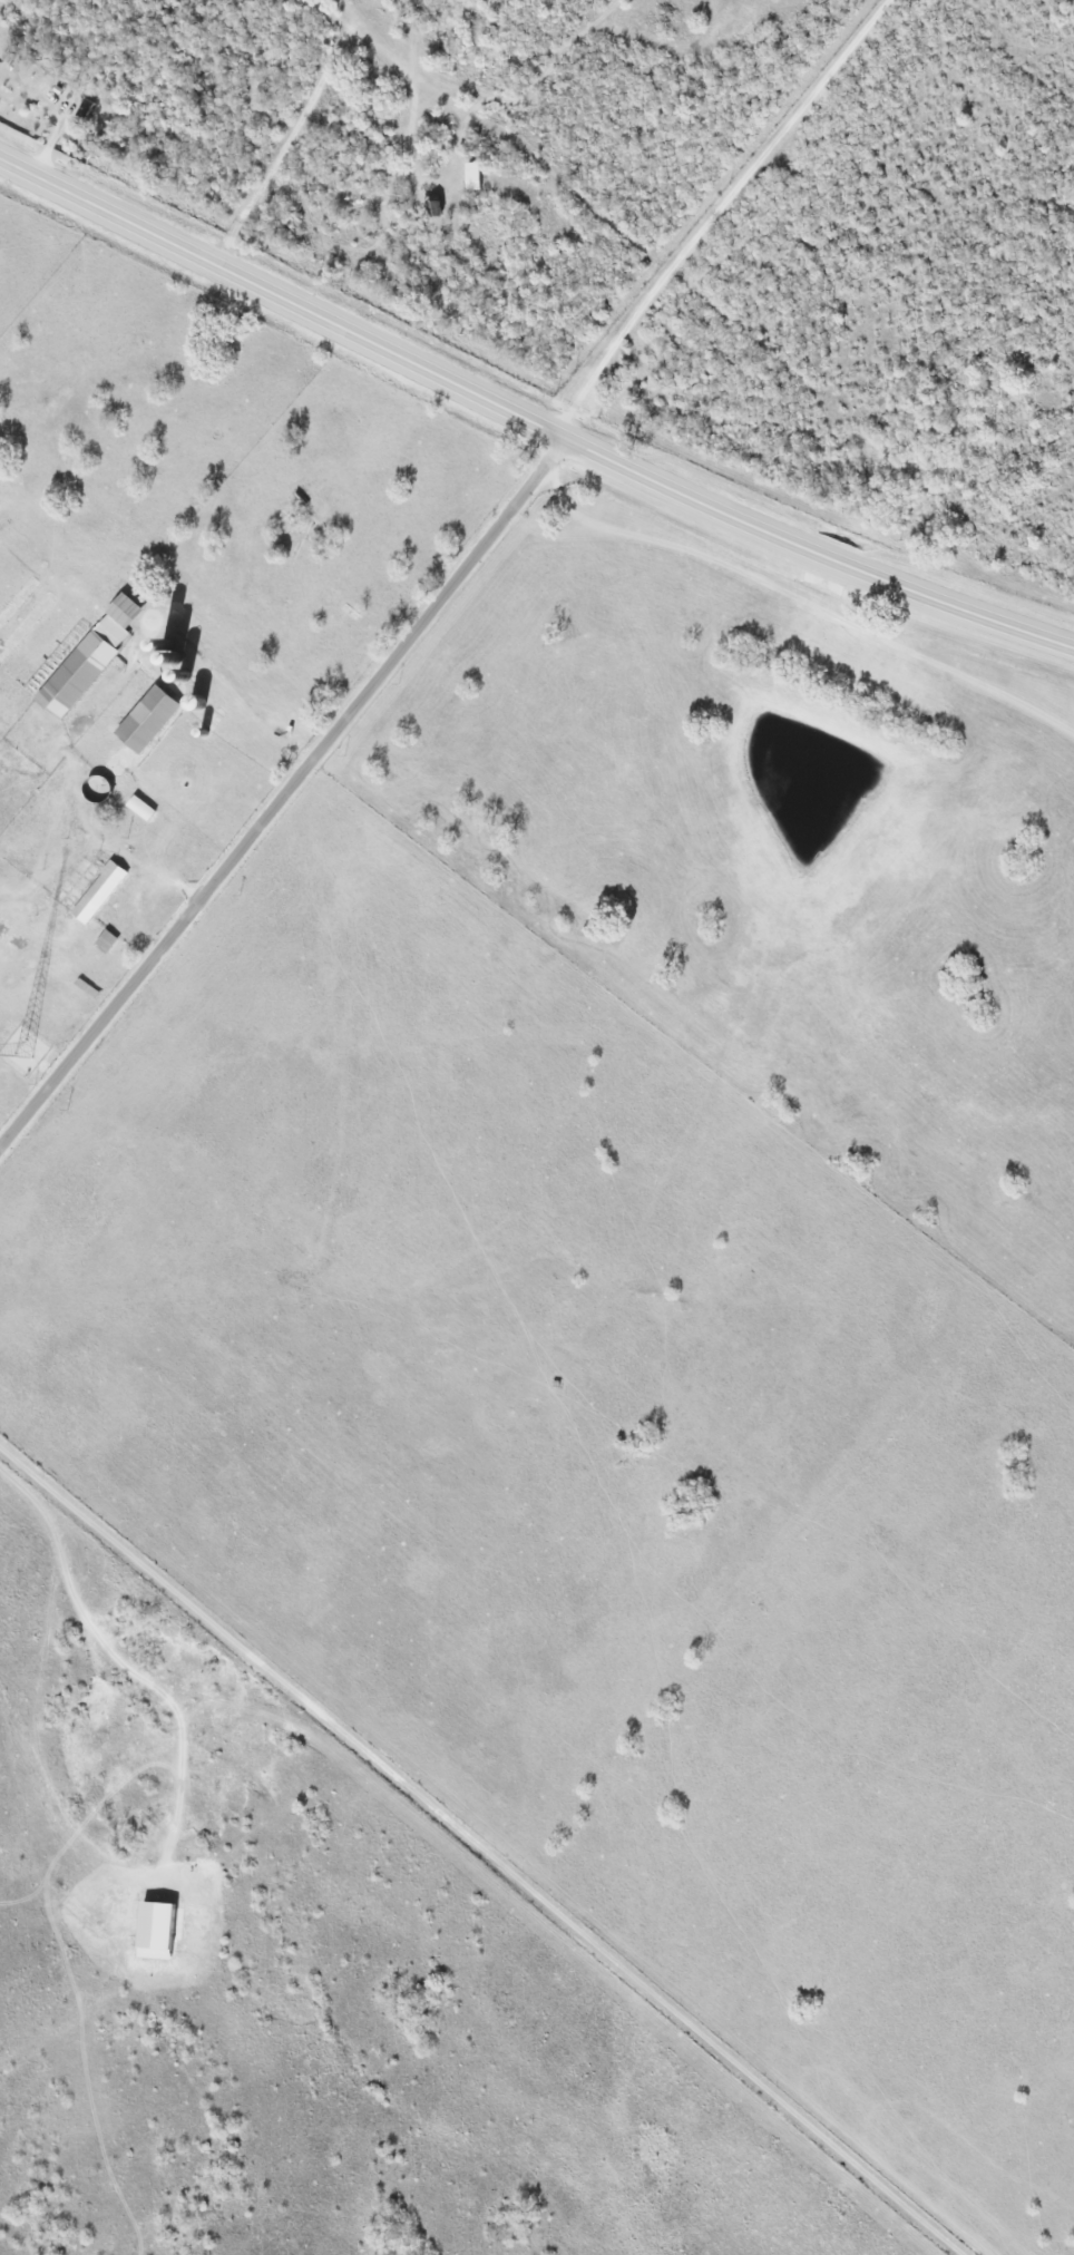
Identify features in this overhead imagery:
building: (430, 207)
road: (529, 417)
building: (85, 657)
building: (143, 719)
building: (95, 787)
road: (283, 795)
building: (137, 807)
building: (95, 891)
building: (102, 940)
road: (358, 1736)
road: (753, 2070)
road: (883, 2180)

